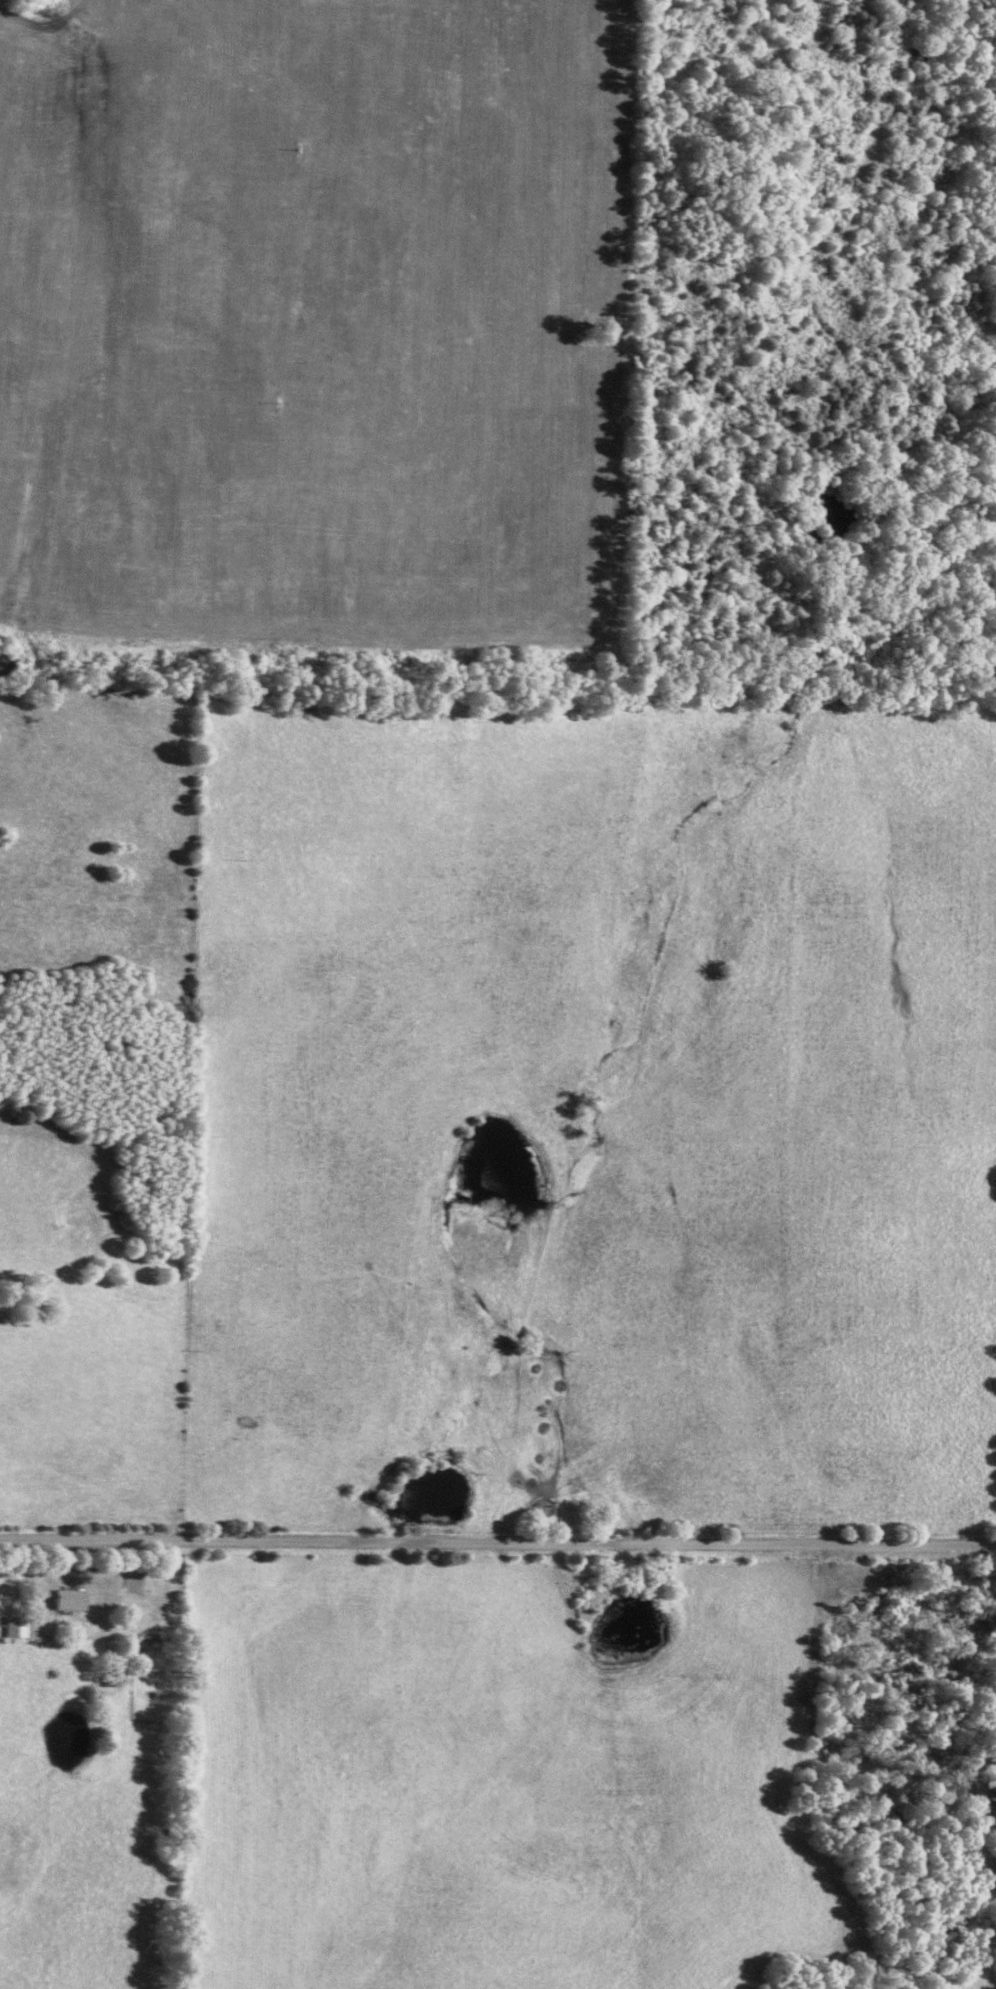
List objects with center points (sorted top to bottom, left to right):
building: (915, 63)
road: (497, 1543)
building: (64, 1604)
building: (11, 1630)
building: (107, 1680)

